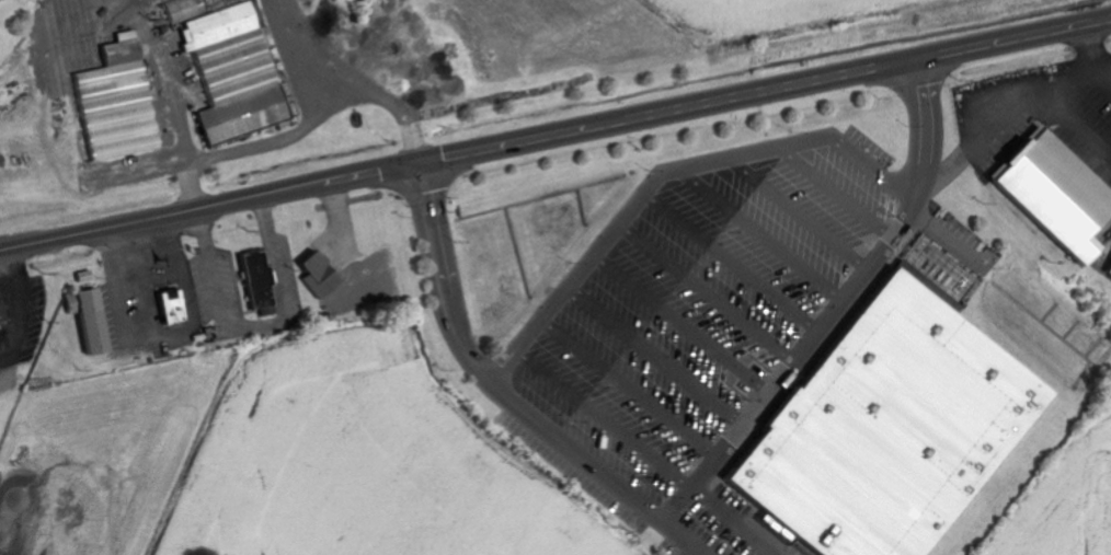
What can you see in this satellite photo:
building: (236, 73)
building: (114, 81)
road: (555, 135)
road: (709, 162)
road: (835, 194)
building: (1054, 195)
road: (797, 215)
road: (758, 235)
road: (729, 263)
building: (1109, 273)
building: (320, 276)
building: (256, 281)
road: (703, 293)
building: (172, 308)
road: (836, 308)
building: (1, 312)
building: (88, 320)
road: (679, 324)
road: (654, 356)
road: (628, 388)
road: (504, 395)
building: (891, 417)
road: (603, 419)
road: (732, 521)

